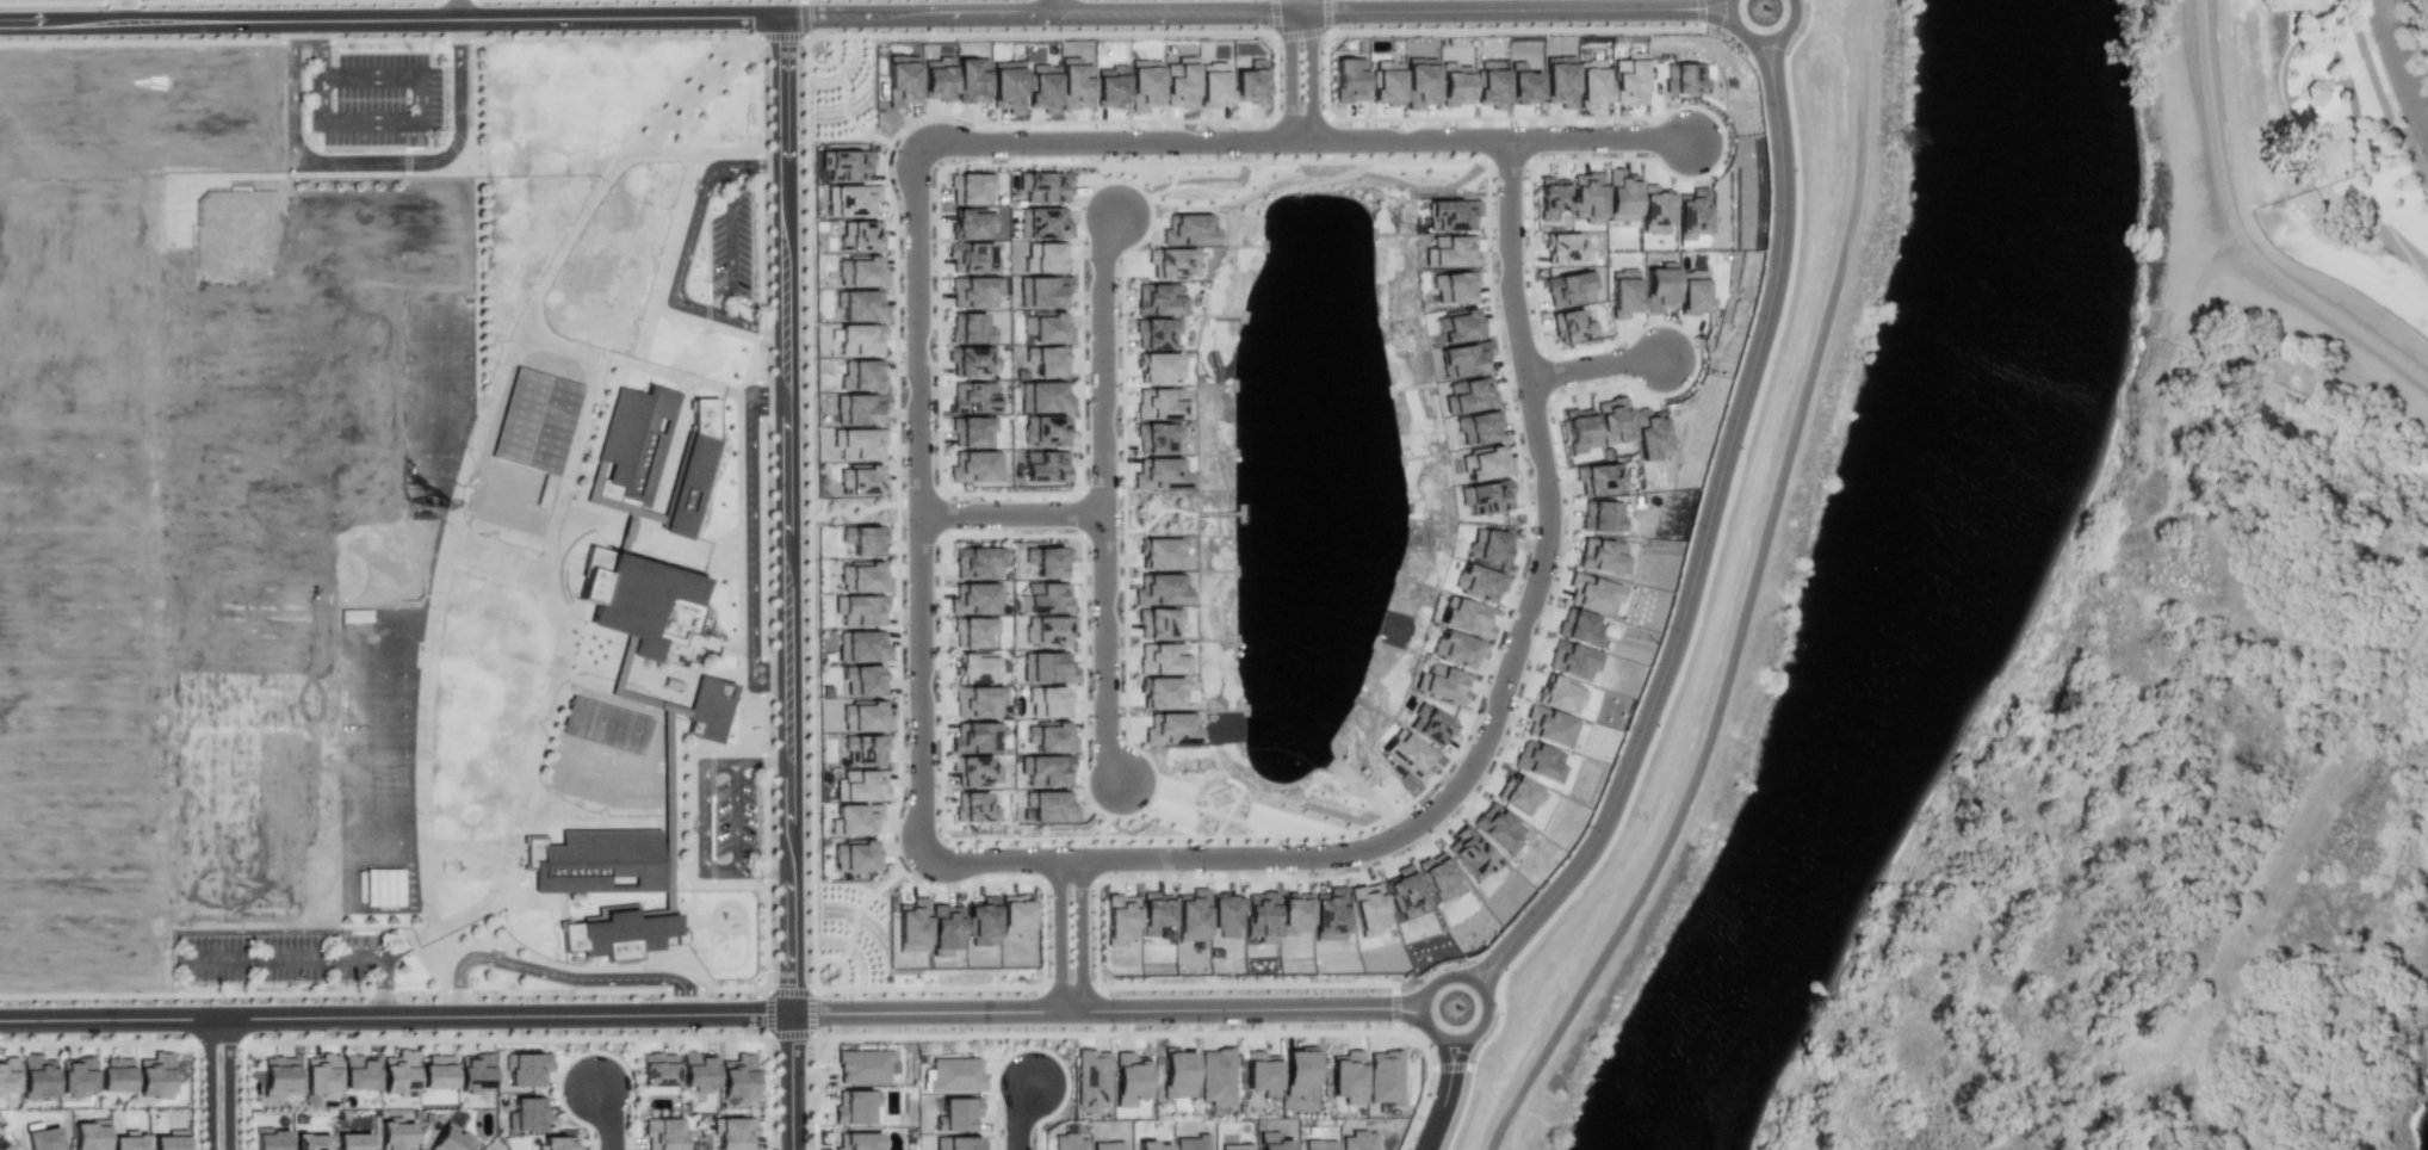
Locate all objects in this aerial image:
road: (1057, 8)
road: (1512, 8)
road: (458, 11)
road: (1699, 13)
road: (1039, 17)
road: (1325, 18)
road: (389, 21)
road: (1297, 36)
road: (676, 37)
road: (388, 38)
road: (458, 38)
road: (1271, 38)
road: (142, 39)
road: (305, 39)
road: (1761, 42)
road: (318, 49)
road: (831, 61)
road: (2402, 67)
road: (1300, 78)
building: (936, 79)
building: (1349, 79)
building: (1685, 79)
building: (1628, 80)
building: (900, 81)
building: (971, 81)
building: (1559, 81)
building: (1179, 82)
building: (1249, 82)
building: (1386, 82)
building: (1419, 82)
building: (1591, 82)
building: (1073, 84)
building: (1491, 84)
building: (1142, 85)
building: (1213, 85)
building: (1454, 85)
building: (1523, 85)
building: (1006, 86)
park: (2334, 86)
building: (1041, 87)
building: (1109, 87)
building: (2315, 89)
road: (843, 113)
road: (415, 116)
road: (1599, 140)
road: (1405, 142)
road: (1105, 144)
road: (373, 161)
building: (844, 163)
building: (1041, 185)
building: (970, 187)
building: (1621, 194)
building: (1587, 197)
building: (850, 199)
building: (1549, 199)
building: (1654, 210)
building: (1690, 214)
building: (1451, 215)
building: (971, 223)
building: (1042, 223)
building: (1188, 229)
road: (2238, 229)
building: (859, 235)
road: (731, 241)
parking lot: (720, 245)
road: (760, 245)
building: (1565, 248)
building: (1449, 252)
road: (685, 254)
building: (1043, 256)
building: (971, 258)
building: (1170, 262)
building: (1454, 286)
building: (1568, 286)
building: (1660, 287)
building: (974, 291)
building: (1042, 291)
building: (1693, 291)
building: (1624, 292)
building: (1158, 299)
building: (860, 305)
building: (1457, 326)
building: (1571, 326)
building: (1046, 327)
building: (970, 328)
building: (1154, 333)
building: (860, 340)
road: (1541, 347)
road: (760, 353)
building: (1463, 359)
building: (971, 360)
building: (1046, 360)
road: (1102, 363)
building: (1158, 366)
road: (1594, 367)
building: (861, 375)
building: (1467, 395)
building: (972, 397)
building: (1046, 397)
building: (1159, 403)
building: (859, 408)
building: (1613, 420)
building: (534, 426)
building: (1478, 427)
building: (1579, 428)
building: (1043, 431)
building: (971, 432)
building: (1648, 433)
building: (1156, 438)
building: (638, 440)
building: (857, 444)
building: (1485, 463)
building: (1045, 465)
building: (974, 466)
building: (693, 469)
building: (1158, 472)
building: (1599, 478)
building: (859, 480)
building: (1485, 495)
road: (853, 505)
road: (785, 513)
road: (1009, 513)
road: (851, 515)
building: (1602, 515)
road: (1703, 536)
road: (762, 538)
building: (863, 539)
building: (1487, 545)
building: (1602, 556)
building: (1047, 561)
building: (975, 562)
building: (862, 577)
road: (915, 580)
building: (1479, 583)
building: (1159, 589)
building: (1592, 593)
road: (1742, 595)
building: (973, 598)
building: (1045, 598)
river: (1902, 604)
building: (648, 606)
building: (859, 610)
building: (1463, 617)
building: (1157, 623)
building: (1579, 627)
building: (1047, 630)
building: (971, 631)
building: (861, 647)
road: (1107, 648)
building: (1457, 648)
building: (1162, 659)
building: (1573, 660)
building: (1046, 667)
building: (977, 668)
road: (1506, 669)
building: (862, 680)
building: (1442, 682)
building: (1160, 691)
building: (1559, 694)
building: (978, 700)
building: (1047, 701)
building: (708, 707)
building: (863, 717)
building: (605, 725)
building: (1430, 725)
building: (1549, 725)
road: (763, 727)
building: (1170, 728)
building: (1049, 736)
building: (974, 737)
building: (865, 750)
building: (1407, 756)
building: (1538, 760)
building: (974, 769)
building: (1047, 771)
building: (861, 786)
building: (1518, 795)
building: (1048, 806)
building: (973, 808)
park: (1224, 810)
road: (704, 815)
parking lot: (729, 815)
road: (736, 816)
road: (764, 816)
building: (855, 818)
building: (1498, 828)
building: (1469, 853)
building: (854, 855)
building: (597, 860)
building: (1436, 874)
building: (382, 886)
building: (1405, 892)
building: (614, 909)
building: (1367, 909)
road: (859, 910)
building: (1154, 911)
building: (1225, 914)
building: (1294, 914)
building: (1328, 914)
building: (1190, 915)
building: (1015, 916)
building: (1262, 917)
building: (1119, 920)
building: (981, 922)
building: (911, 925)
building: (944, 929)
building: (619, 933)
road: (1072, 934)
road: (326, 951)
parking lot: (291, 957)
road: (766, 960)
road: (837, 962)
road: (1450, 971)
road: (559, 975)
road: (1123, 985)
road: (575, 988)
road: (421, 990)
road: (811, 990)
road: (304, 991)
road: (109, 994)
road: (1395, 1004)
road: (769, 1007)
road: (1105, 1008)
road: (395, 1014)
road: (1121, 1032)
road: (789, 1033)
road: (507, 1038)
road: (148, 1041)
road: (1038, 1046)
road: (1481, 1047)
road: (587, 1051)
building: (863, 1065)
road: (1451, 1066)
building: (526, 1069)
building: (696, 1070)
building: (436, 1071)
building: (358, 1072)
building: (472, 1072)
building: (954, 1072)
building: (1176, 1072)
building: (1299, 1072)
building: (398, 1074)
building: (657, 1074)
building: (1261, 1074)
building: (7, 1075)
building: (114, 1075)
building: (153, 1075)
building: (278, 1075)
building: (321, 1075)
building: (36, 1076)
building: (75, 1076)
building: (1383, 1076)
building: (738, 1077)
building: (1215, 1077)
building: (1348, 1077)
building: (1090, 1078)
building: (1128, 1078)
road: (791, 1081)
road: (222, 1082)
road: (204, 1083)
road: (1444, 1094)
building: (856, 1106)
building: (527, 1114)
building: (956, 1114)
road: (607, 1117)
road: (1020, 1119)
building: (732, 1132)
building: (662, 1133)
building: (87, 1134)
building: (395, 1136)
building: (43, 1138)
building: (448, 1139)
building: (125, 1140)
building: (168, 1140)
building: (270, 1140)
building: (309, 1140)
building: (351, 1140)
building: (1359, 1140)
building: (856, 1142)
building: (1272, 1142)
building: (557, 1143)
building: (955, 1143)
building: (1071, 1143)
building: (1193, 1143)
building: (1320, 1144)
building: (4, 1146)
building: (1109, 1146)
building: (1152, 1146)
building: (1237, 1146)

